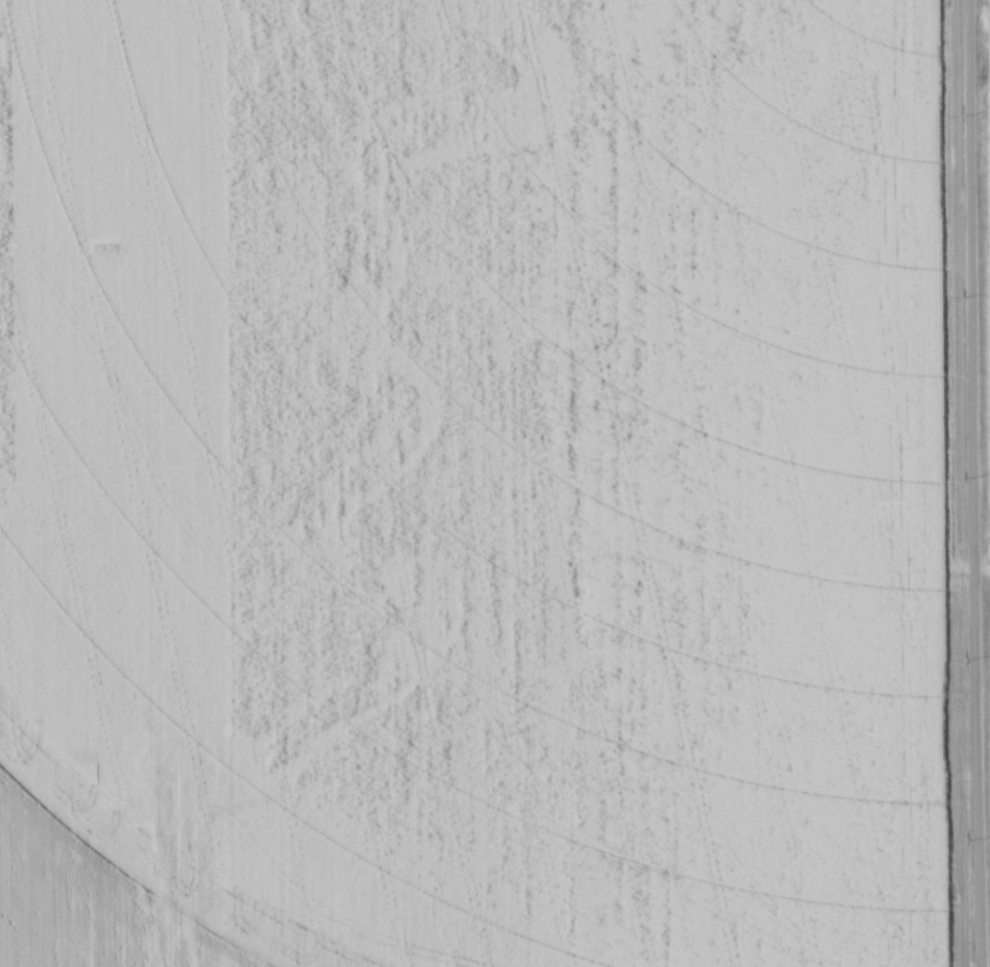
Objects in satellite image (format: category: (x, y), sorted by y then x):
crop: (986, 267)
crop: (478, 483)
road: (969, 483)

